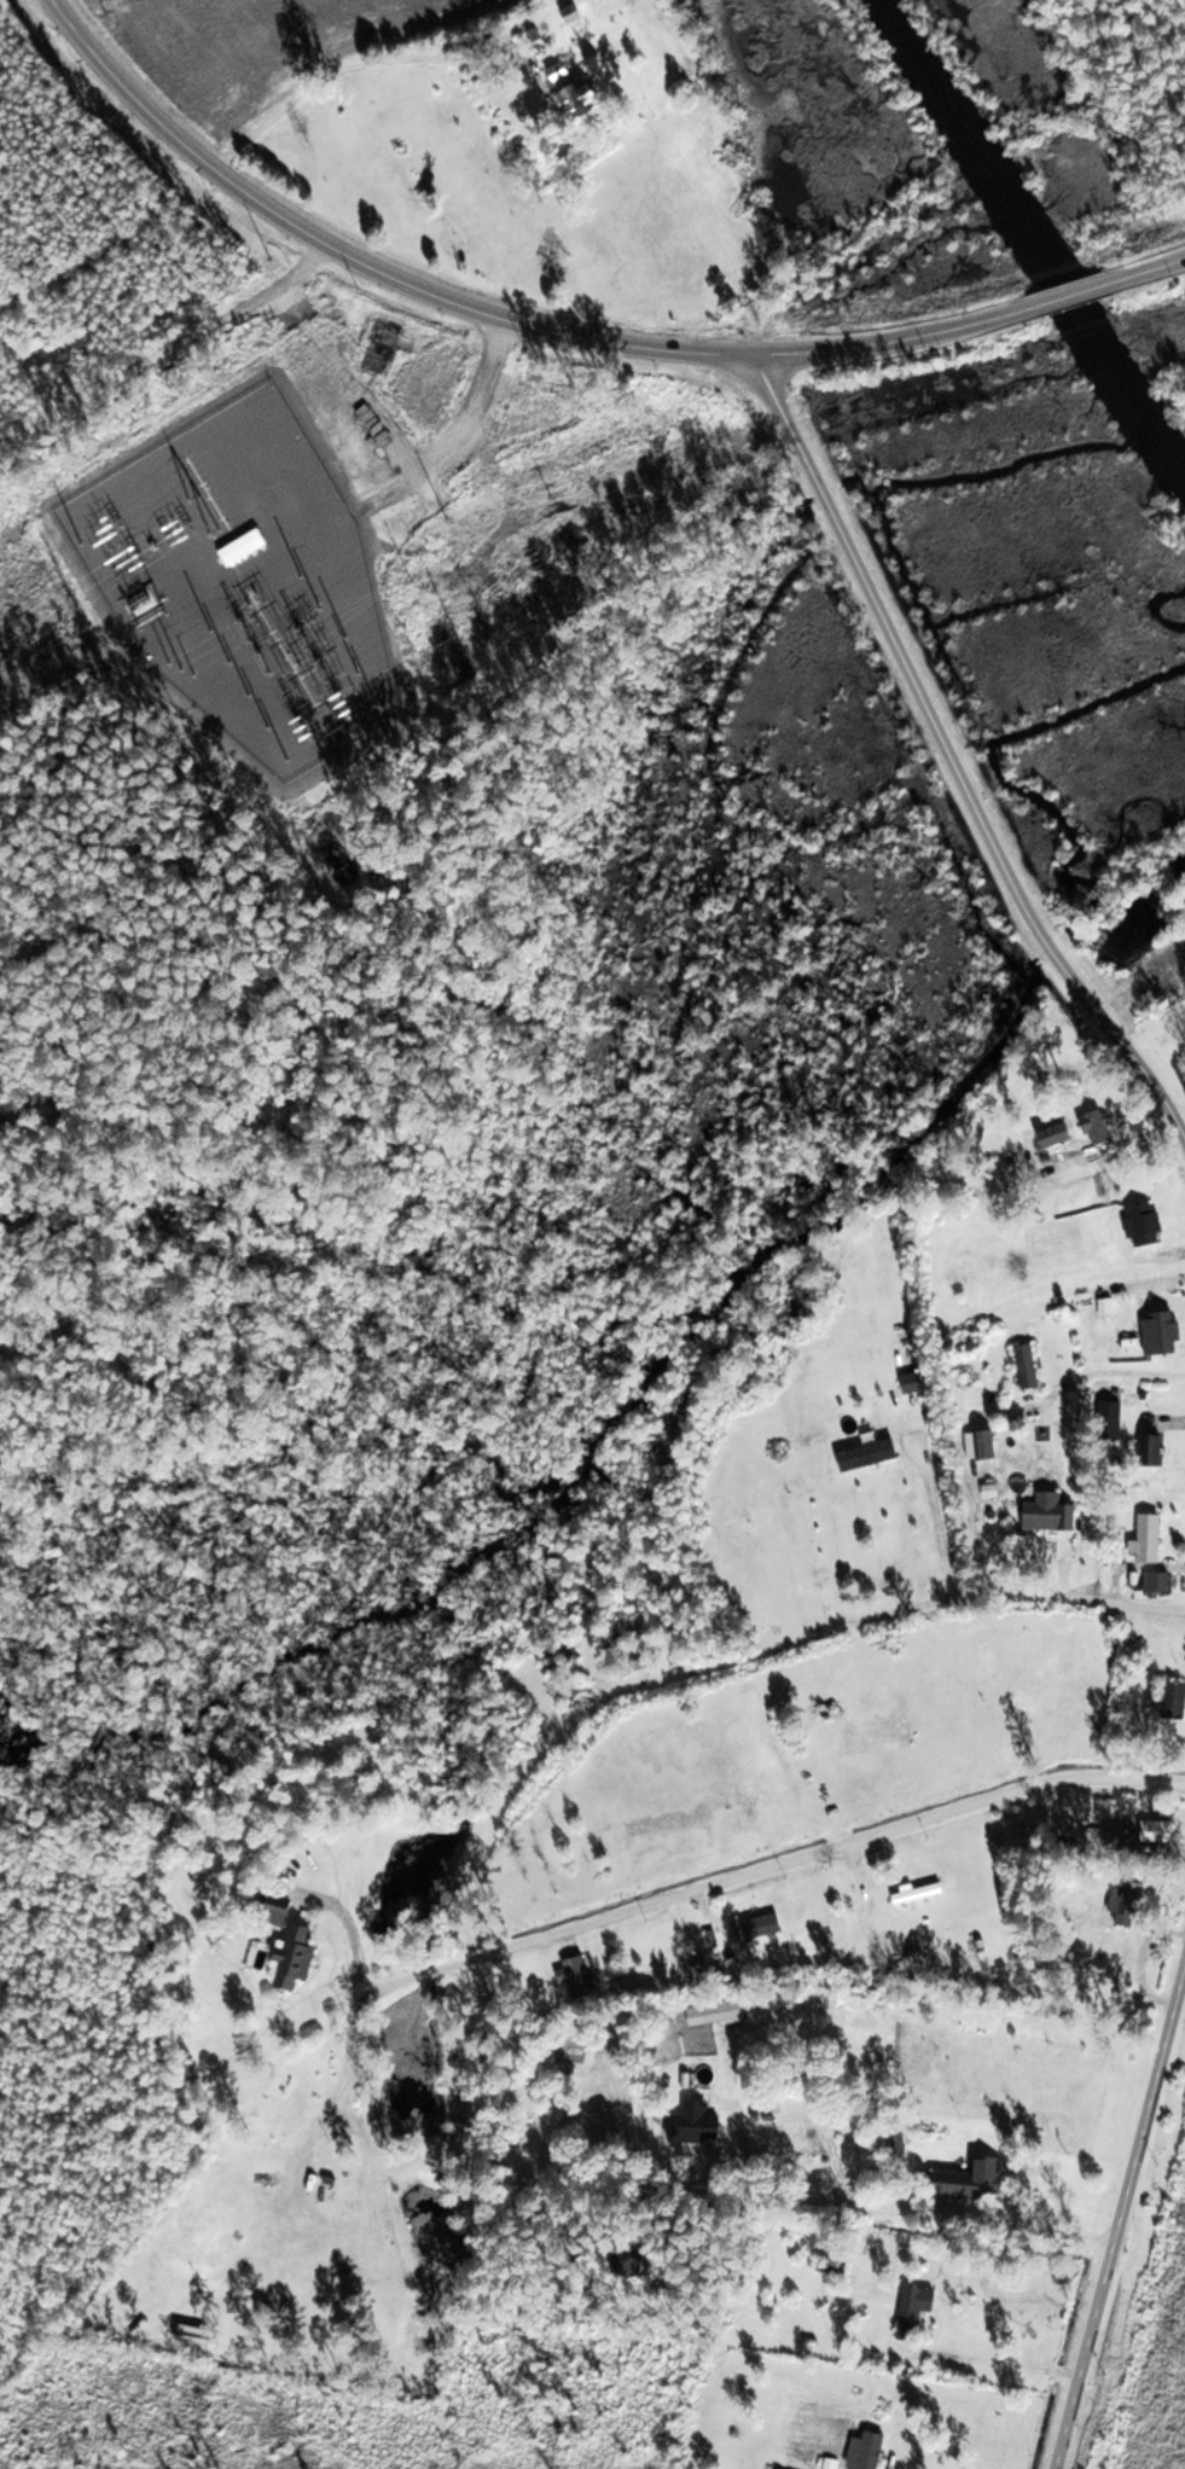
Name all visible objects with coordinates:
building: (575, 14)
road: (400, 89)
building: (580, 93)
road: (364, 263)
road: (1146, 272)
road: (1073, 295)
road: (141, 306)
road: (900, 341)
road: (459, 440)
building: (245, 545)
power substation: (248, 585)
road: (951, 765)
building: (1050, 1137)
building: (1158, 1330)
building: (1023, 1367)
building: (1108, 1422)
building: (977, 1446)
building: (1148, 1452)
building: (864, 1456)
building: (1045, 1515)
building: (1145, 1539)
building: (1152, 1584)
building: (643, 1625)
road: (869, 1631)
building: (565, 1661)
building: (1171, 1706)
building: (1158, 1834)
road: (774, 1869)
building: (916, 1895)
building: (1119, 1905)
building: (766, 1925)
building: (301, 1956)
building: (583, 1976)
building: (728, 2011)
road: (1151, 2114)
building: (705, 2121)
building: (976, 2179)
road: (656, 2189)
building: (640, 2260)
building: (265, 2291)
building: (919, 2310)
road: (1087, 2355)
building: (871, 2451)
building: (836, 2463)

